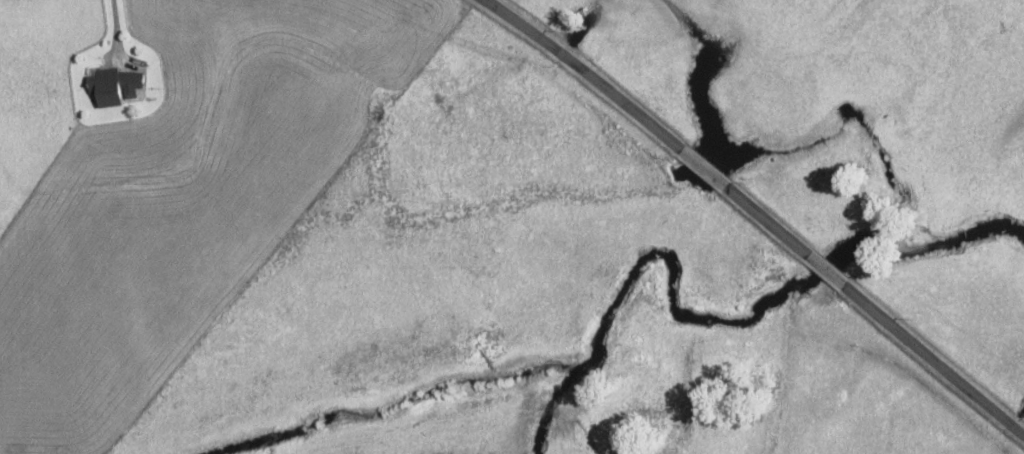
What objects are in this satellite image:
road: (583, 73)
building: (114, 85)
road: (702, 167)
road: (763, 219)
road: (822, 269)
road: (932, 360)

